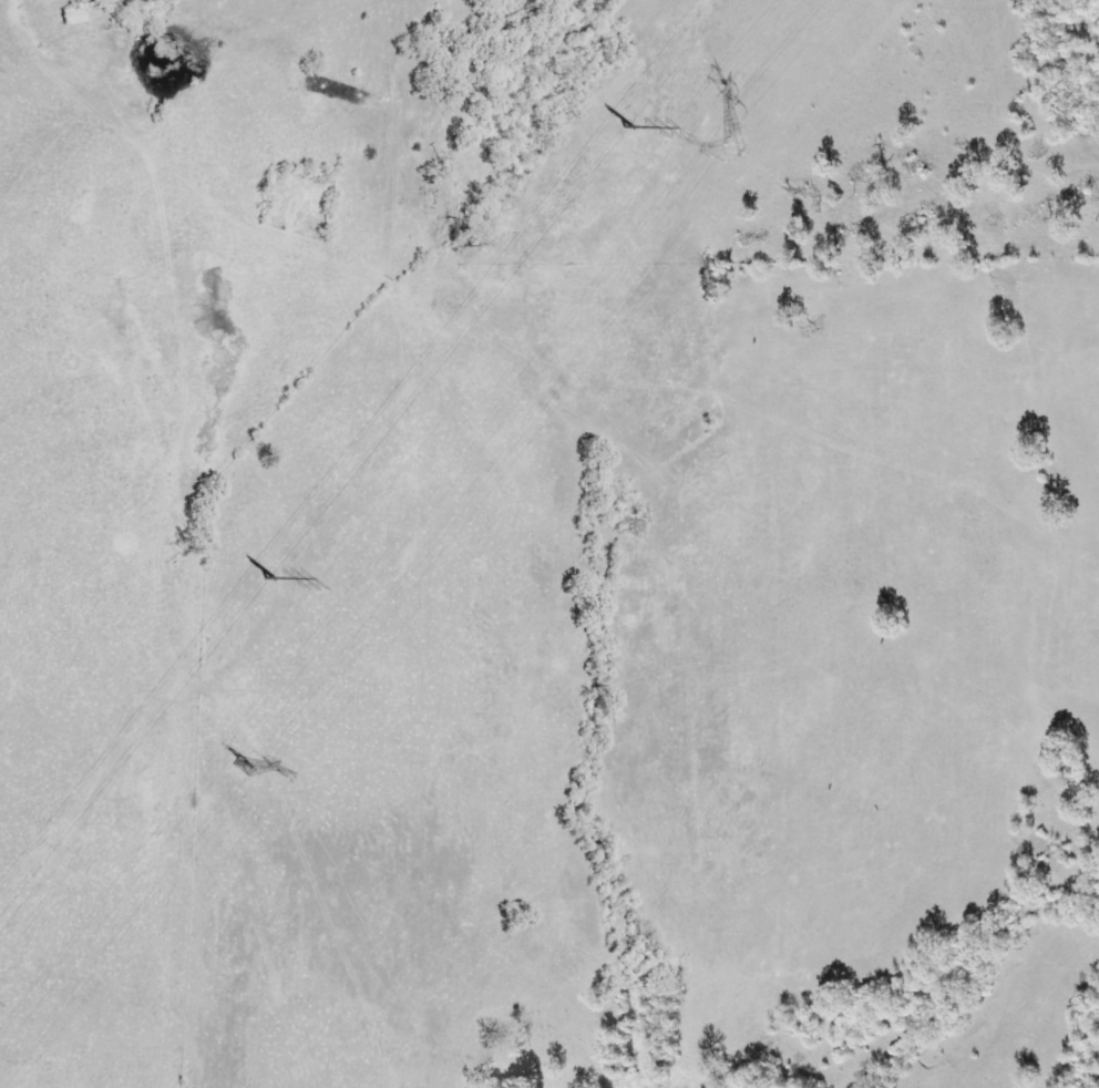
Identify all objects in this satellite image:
building: (73, 16)
power tower: (732, 148)
power tower: (238, 768)

